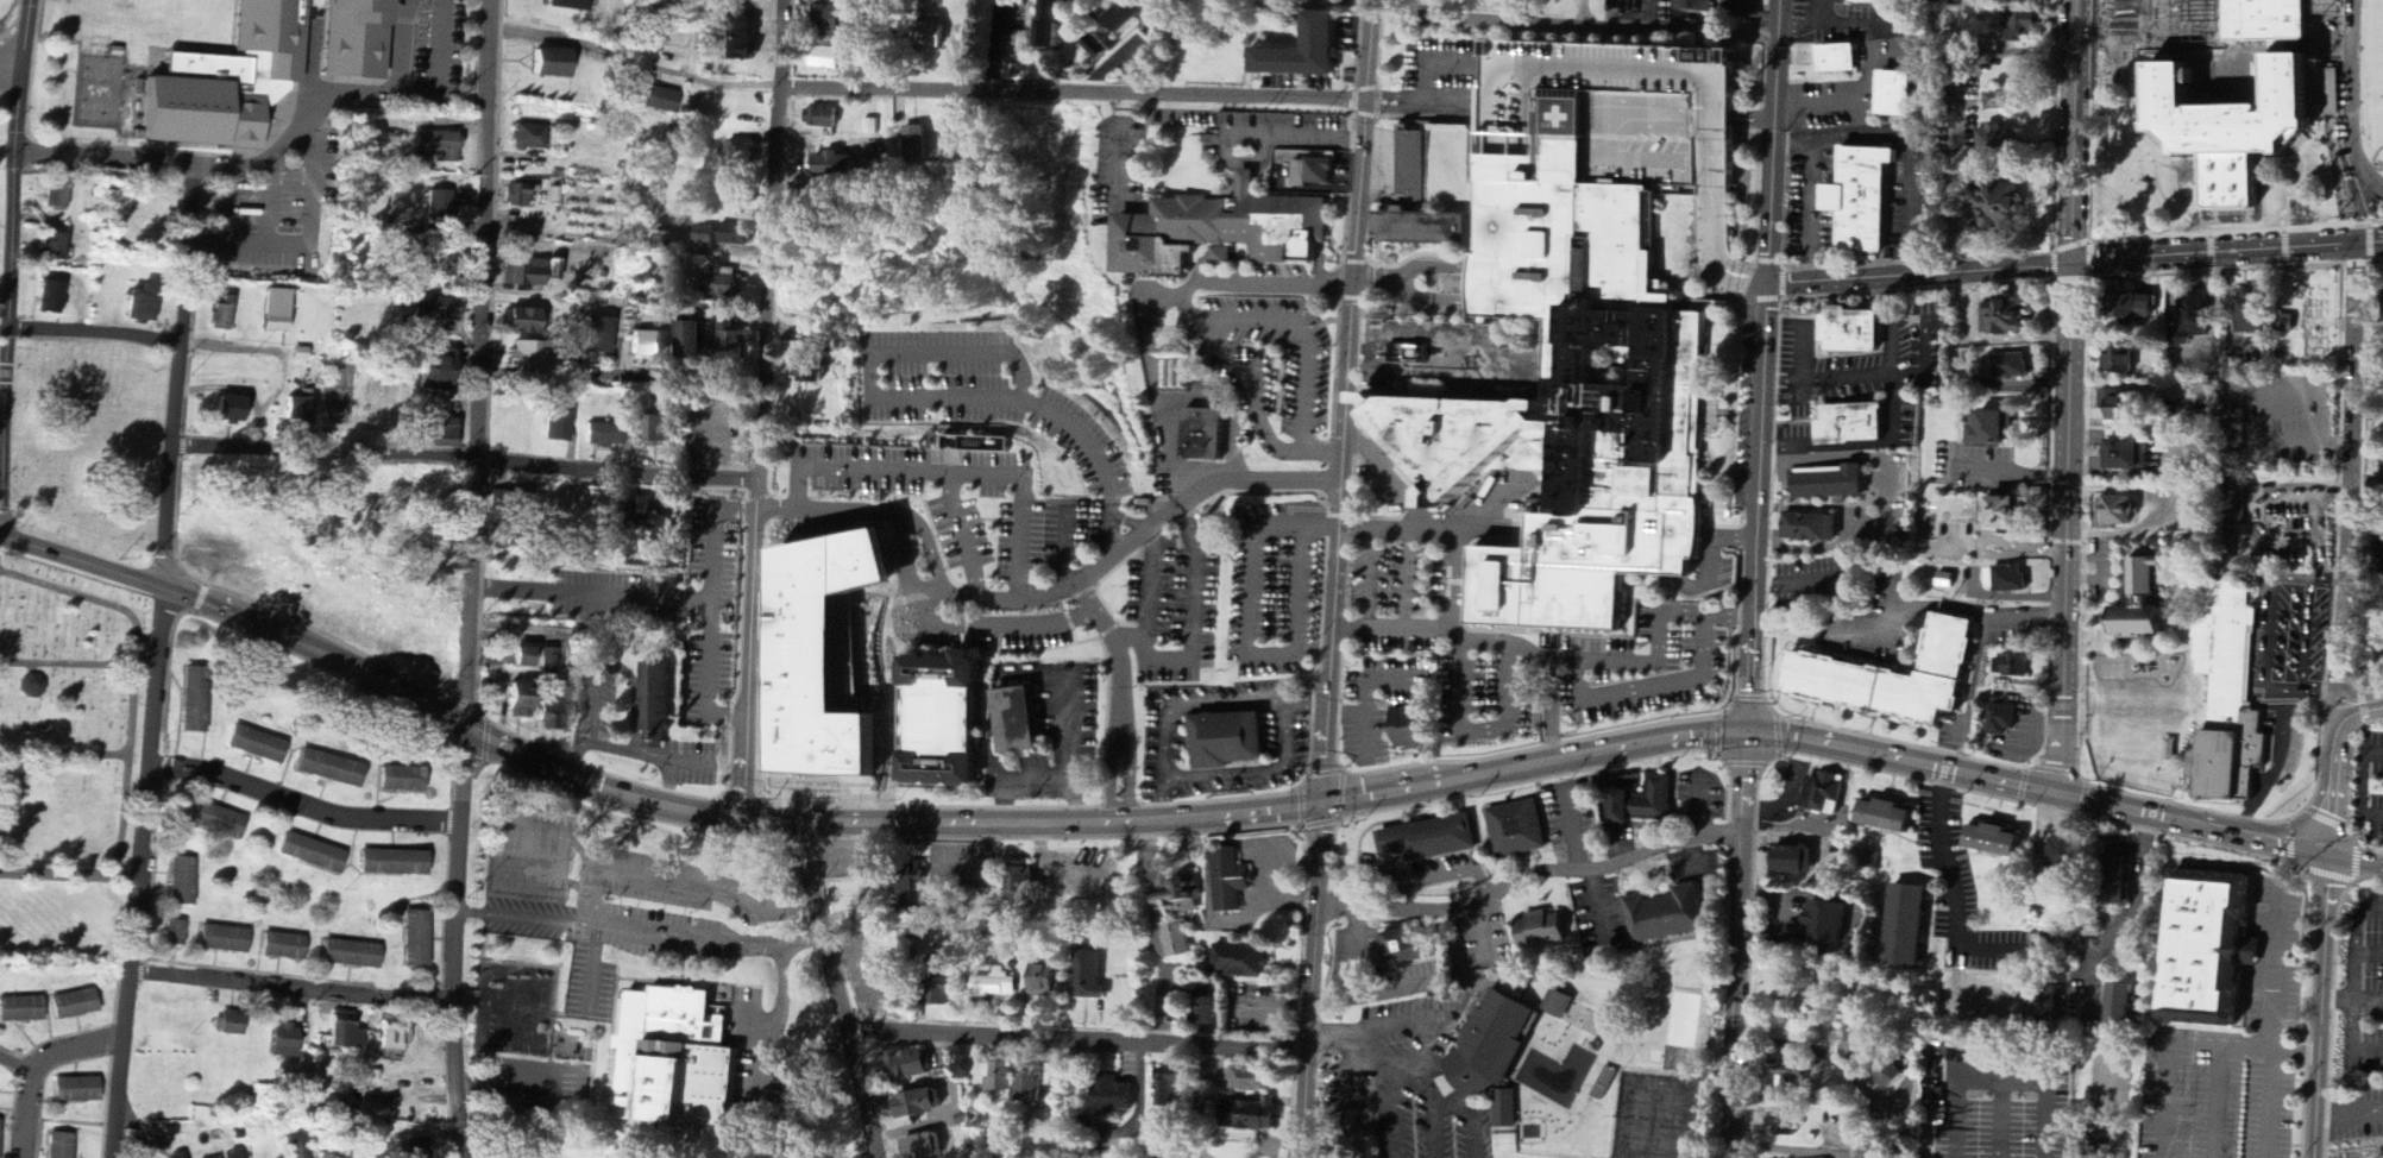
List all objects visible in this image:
park: (146, 1)
building: (1875, 2)
building: (568, 5)
building: (1693, 6)
road: (1580, 12)
road: (1652, 13)
building: (1124, 17)
building: (832, 18)
road: (1576, 23)
building: (1051, 24)
building: (2020, 25)
road: (2173, 31)
building: (738, 32)
building: (929, 36)
road: (2201, 36)
building: (351, 37)
park: (2375, 42)
road: (398, 45)
road: (2133, 46)
building: (1307, 51)
building: (825, 58)
building: (1838, 59)
road: (633, 61)
road: (11, 62)
building: (552, 63)
road: (1429, 64)
building: (224, 81)
park: (96, 90)
road: (417, 94)
road: (1071, 95)
building: (1895, 95)
building: (1998, 97)
track: (2353, 97)
building: (659, 100)
road: (1413, 103)
building: (2296, 105)
building: (2332, 107)
building: (820, 118)
helipad: (1572, 118)
building: (528, 138)
building: (1997, 143)
building: (914, 144)
building: (436, 146)
building: (744, 152)
road: (103, 157)
road: (254, 162)
road: (2155, 164)
building: (834, 165)
building: (1313, 174)
road: (2134, 176)
road: (2322, 177)
building: (737, 195)
road: (2296, 195)
building: (56, 196)
building: (516, 196)
park: (2, 200)
building: (1862, 200)
building: (440, 203)
road: (271, 206)
building: (1419, 207)
building: (2000, 207)
road: (314, 228)
road: (2236, 229)
building: (1221, 232)
road: (2096, 233)
building: (703, 235)
building: (732, 235)
road: (2369, 240)
road: (2345, 243)
road: (2071, 245)
building: (54, 247)
road: (2283, 247)
road: (2203, 252)
road: (2239, 254)
road: (2088, 259)
road: (1913, 260)
road: (2376, 260)
road: (2356, 262)
building: (447, 265)
road: (2052, 265)
road: (2087, 265)
road: (1752, 266)
traffic signals: (2071, 266)
road: (11, 268)
road: (2214, 271)
building: (524, 273)
parking lot: (1281, 273)
road: (1923, 277)
road: (2069, 281)
road: (1780, 284)
road: (1379, 285)
building: (718, 287)
road: (1916, 290)
building: (50, 298)
road: (1156, 298)
road: (1761, 298)
building: (142, 304)
building: (436, 309)
building: (2138, 309)
building: (275, 310)
building: (2247, 313)
building: (221, 315)
building: (2004, 317)
building: (2192, 317)
building: (526, 321)
road: (90, 331)
building: (1851, 332)
building: (598, 336)
road: (1307, 339)
building: (687, 340)
building: (729, 345)
building: (648, 347)
building: (526, 355)
building: (2119, 361)
parking lot: (1269, 366)
building: (2010, 367)
building: (806, 369)
building: (436, 370)
road: (656, 382)
building: (1563, 388)
building: (1501, 395)
road: (924, 397)
road: (2068, 398)
road: (1249, 399)
parking lot: (993, 405)
road: (761, 407)
road: (2048, 407)
building: (2121, 407)
road: (1225, 408)
building: (230, 411)
building: (300, 411)
parking lot: (2275, 418)
building: (558, 426)
building: (1851, 426)
building: (655, 430)
building: (1993, 430)
building: (1202, 434)
building: (606, 436)
park: (89, 443)
building: (2129, 455)
road: (465, 458)
parking lot: (1988, 468)
road: (950, 470)
road: (1882, 471)
road: (2345, 479)
building: (1829, 484)
road: (1194, 489)
road: (830, 510)
parking lot: (968, 510)
road: (905, 514)
building: (2117, 514)
building: (2006, 517)
building: (647, 521)
road: (1128, 521)
building: (1810, 528)
road: (961, 535)
road: (712, 539)
road: (1063, 547)
road: (1821, 548)
building: (430, 566)
parking lot: (2102, 568)
road: (1337, 578)
road: (1753, 578)
road: (469, 579)
building: (2010, 580)
building: (1949, 581)
road: (1798, 584)
parking lot: (1276, 585)
road: (659, 597)
road: (1087, 597)
parking lot: (1171, 600)
building: (2145, 602)
road: (1976, 613)
road: (1452, 624)
road: (994, 625)
road: (1392, 627)
parking lot: (1000, 628)
road: (1250, 635)
road: (1130, 637)
road: (515, 640)
building: (523, 659)
building: (820, 659)
road: (67, 662)
building: (549, 662)
road: (163, 663)
road: (1186, 663)
building: (2011, 667)
road: (133, 676)
road: (1379, 679)
building: (1893, 679)
building: (2230, 697)
building: (195, 700)
building: (521, 700)
road: (1184, 700)
parking lot: (1378, 701)
building: (656, 707)
road: (2359, 709)
building: (555, 716)
road: (1364, 716)
building: (1014, 720)
building: (2000, 720)
road: (1064, 723)
building: (942, 724)
building: (1409, 728)
traffic signals: (1746, 731)
parking lot: (1048, 737)
parking lot: (1168, 740)
building: (1226, 741)
road: (1123, 742)
building: (256, 745)
road: (64, 753)
park: (65, 757)
building: (329, 769)
road: (1257, 772)
building: (401, 780)
road: (1042, 780)
road: (2332, 783)
road: (2360, 786)
building: (1823, 794)
traffic signals: (1320, 803)
building: (1642, 804)
road: (303, 807)
building: (1890, 818)
building: (215, 822)
road: (1145, 822)
road: (1571, 829)
building: (1516, 830)
building: (1429, 841)
building: (1998, 842)
building: (310, 854)
park: (526, 854)
traffic signals: (2327, 855)
building: (2064, 856)
road: (1694, 857)
road: (2354, 861)
building: (1793, 862)
building: (391, 863)
road: (70, 875)
road: (1439, 877)
road: (1528, 877)
building: (181, 881)
building: (1230, 881)
building: (2124, 882)
building: (1021, 883)
road: (597, 885)
road: (1358, 894)
building: (913, 895)
building: (1177, 899)
road: (765, 902)
road: (1596, 907)
building: (1667, 915)
road: (2358, 919)
building: (1825, 924)
building: (1905, 926)
road: (642, 930)
road: (1482, 931)
building: (1542, 931)
building: (174, 933)
parking lot: (2299, 933)
building: (224, 939)
building: (416, 939)
building: (1176, 942)
building: (284, 946)
road: (2014, 946)
building: (2214, 950)
building: (1406, 951)
building: (352, 955)
building: (1240, 963)
road: (2269, 968)
road: (2353, 974)
building: (1089, 977)
building: (1045, 983)
building: (941, 986)
road: (289, 987)
building: (995, 987)
road: (843, 989)
road: (1354, 993)
road: (2368, 996)
building: (74, 1005)
building: (1557, 1005)
road: (2320, 1006)
park: (511, 1007)
building: (1207, 1008)
building: (20, 1009)
building: (2125, 1009)
building: (2049, 1012)
road: (2351, 1024)
building: (226, 1025)
road: (767, 1026)
building: (344, 1032)
building: (392, 1036)
road: (1080, 1039)
road: (2188, 1039)
building: (283, 1041)
building: (1489, 1049)
building: (1855, 1049)
road: (1816, 1050)
building: (678, 1061)
road: (19, 1064)
building: (908, 1065)
road: (39, 1068)
road: (1379, 1071)
building: (1792, 1074)
building: (1888, 1075)
road: (1999, 1076)
building: (1000, 1078)
building: (1252, 1080)
building: (1170, 1089)
building: (76, 1090)
building: (1029, 1090)
road: (1427, 1095)
building: (1113, 1099)
road: (2217, 1100)
road: (2269, 1104)
building: (1505, 1110)
building: (1251, 1116)
road: (2000, 1118)
road: (133, 1120)
building: (1781, 1125)
road: (1472, 1137)
building: (62, 1146)
building: (297, 1147)
building: (922, 1147)
building: (420, 1151)
building: (178, 1154)
building: (235, 1154)
building: (218, 1157)
building: (1905, 1157)

